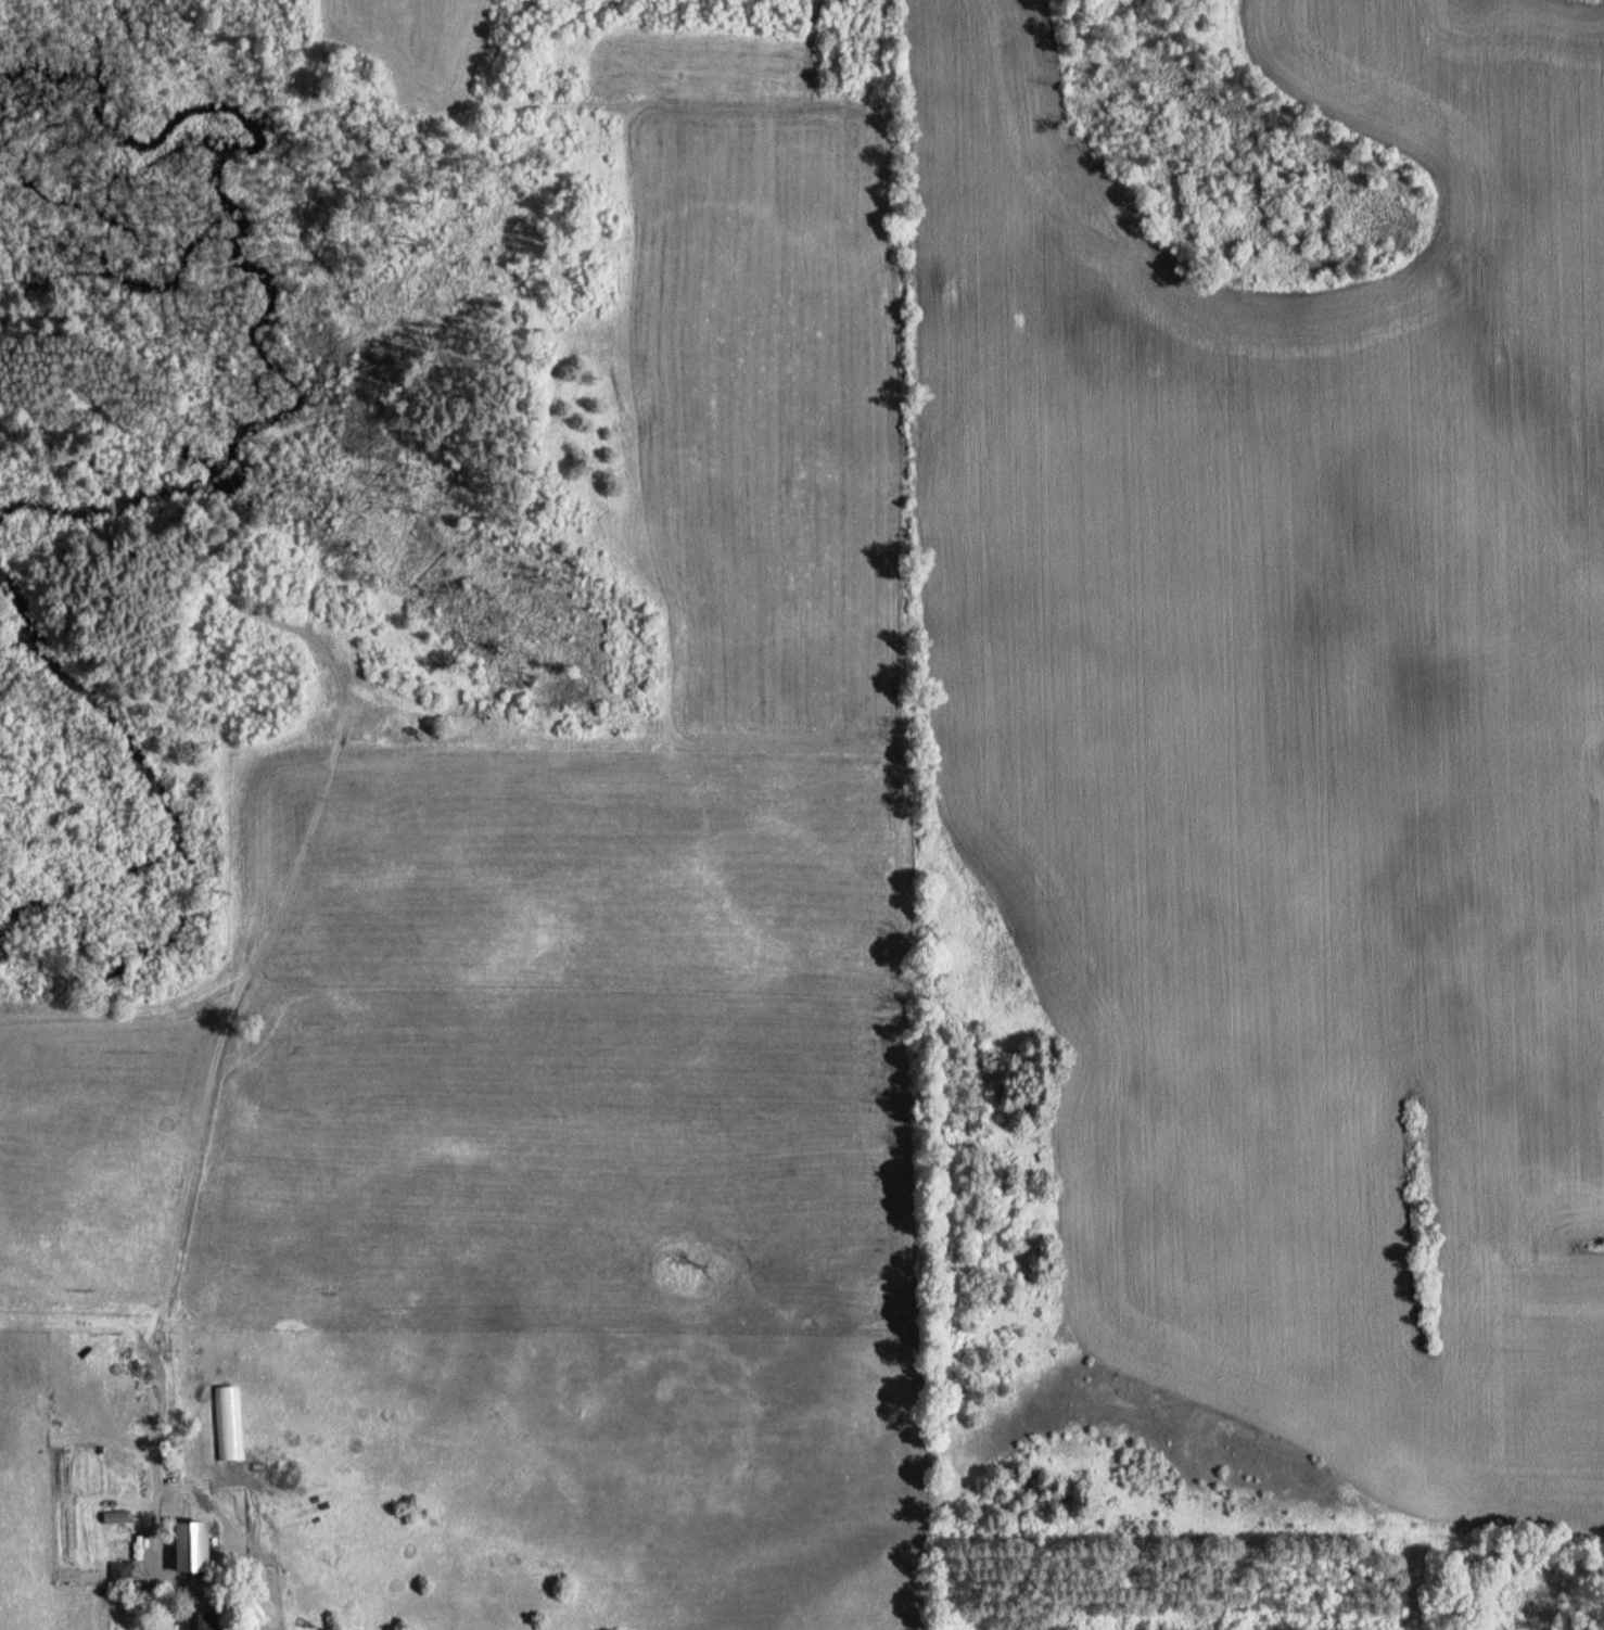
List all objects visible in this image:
building: (191, 1548)
road: (145, 1601)
building: (193, 1622)

